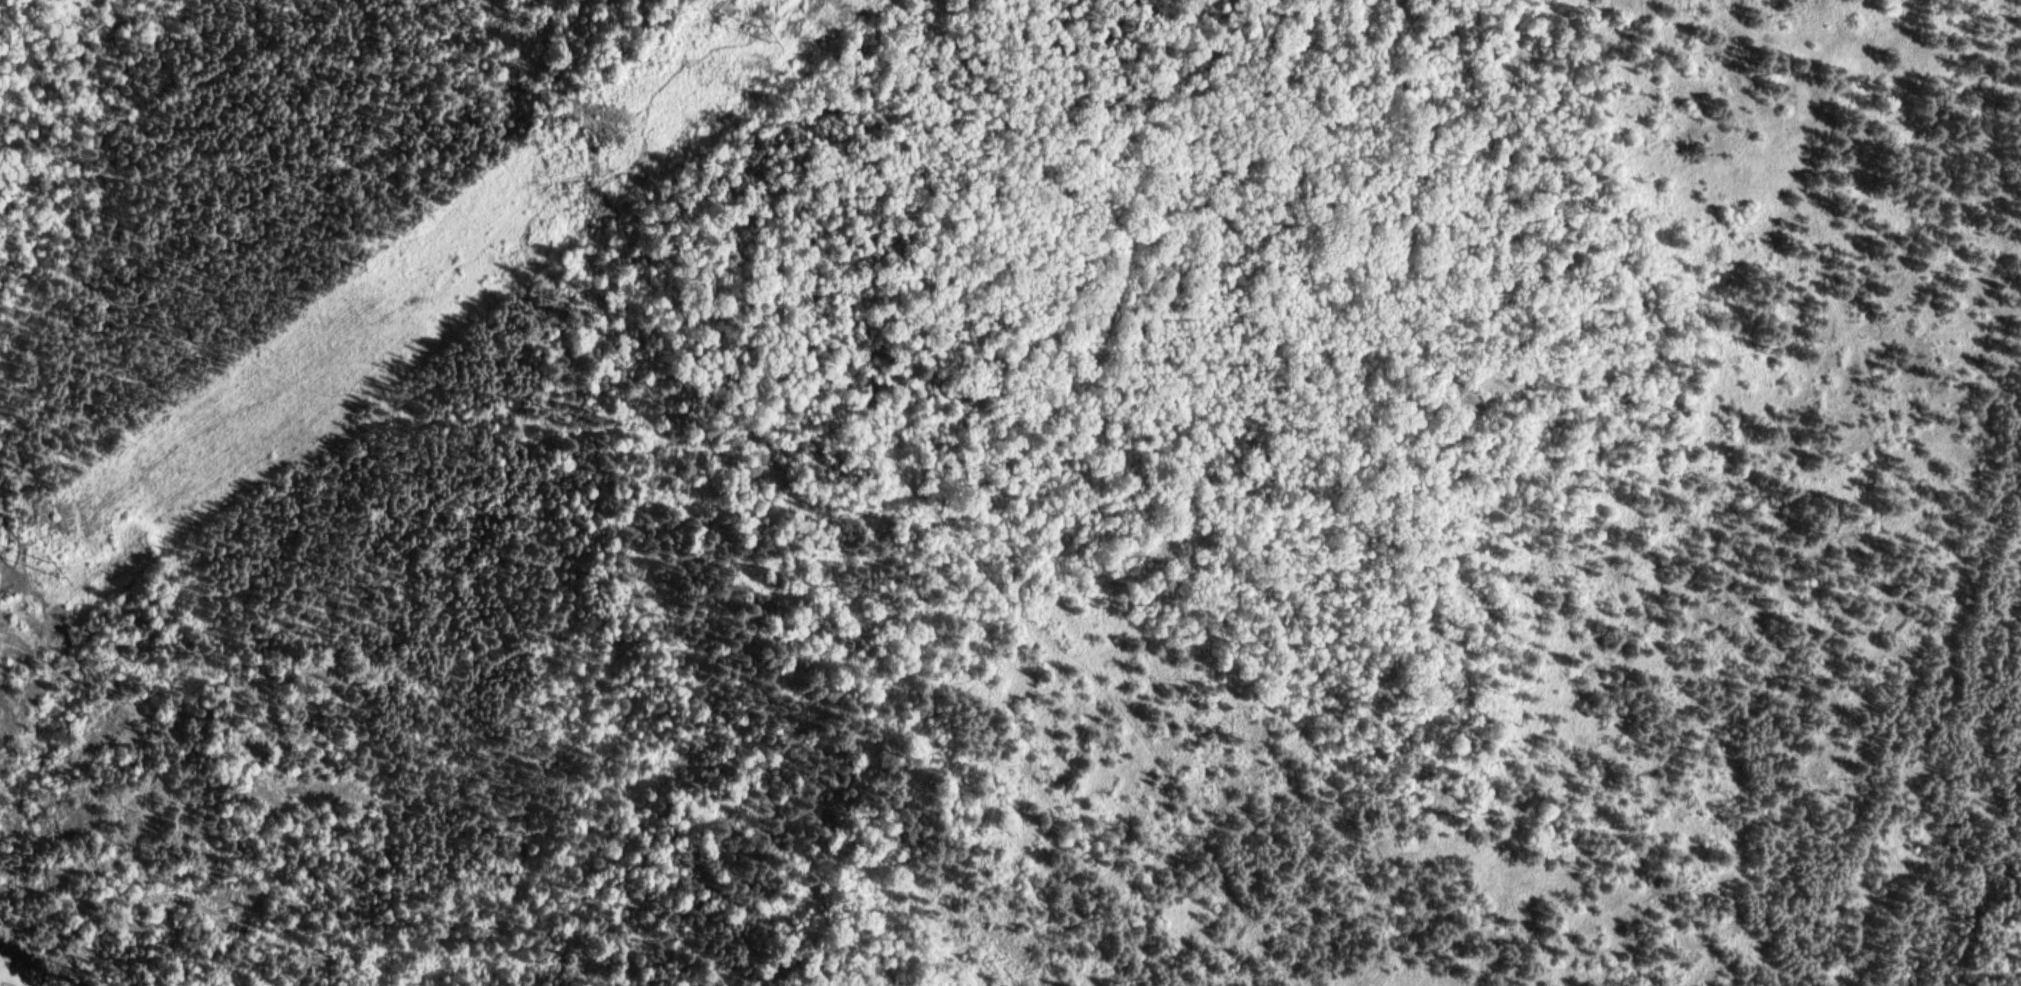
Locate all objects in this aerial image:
power tower: (764, 31)
power tower: (59, 567)
road: (1256, 907)

